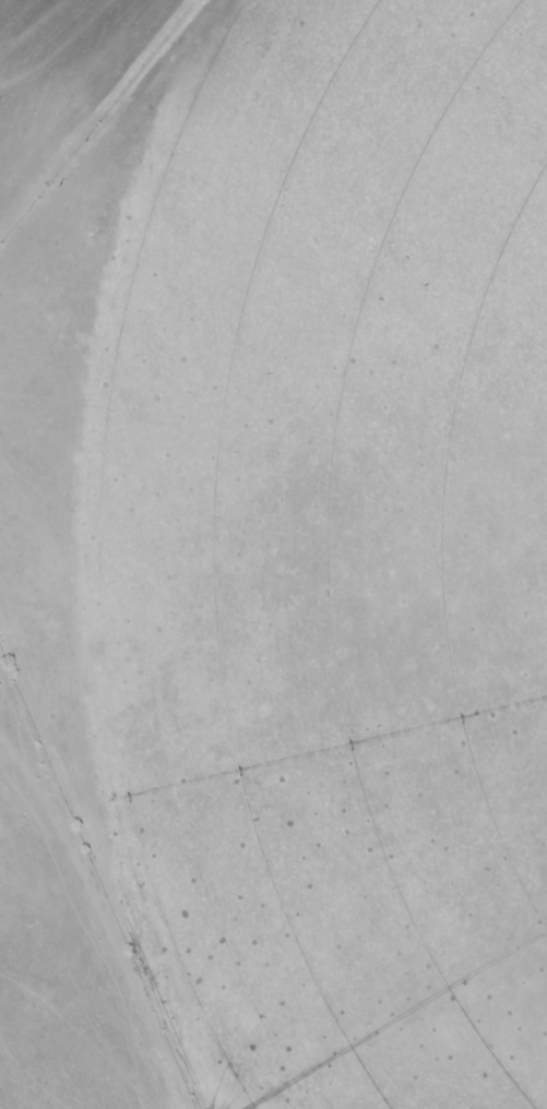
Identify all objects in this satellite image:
road: (81, 1057)

